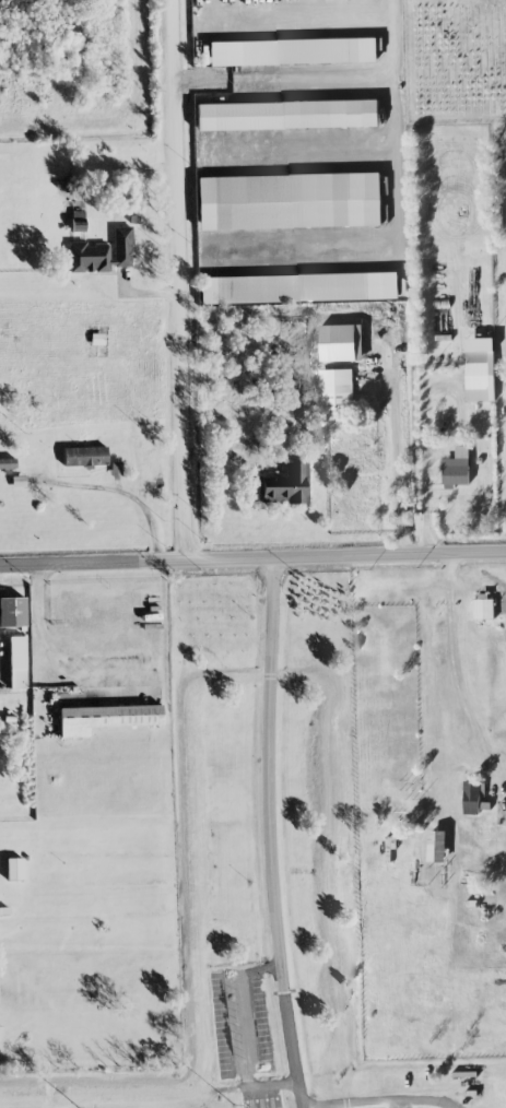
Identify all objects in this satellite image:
building: (301, 51)
building: (286, 115)
building: (289, 201)
building: (101, 252)
road: (180, 280)
building: (291, 287)
building: (341, 342)
building: (478, 376)
building: (336, 389)
building: (83, 456)
building: (7, 462)
road: (395, 462)
building: (456, 469)
building: (284, 484)
road: (126, 493)
road: (426, 506)
road: (252, 559)
road: (449, 564)
building: (484, 608)
building: (12, 611)
road: (42, 637)
building: (16, 662)
road: (456, 664)
road: (429, 685)
building: (106, 718)
building: (471, 798)
road: (268, 834)
building: (437, 846)
building: (13, 869)
parking lot: (238, 1022)
road: (242, 1033)
park: (267, 1095)
road: (388, 1105)

